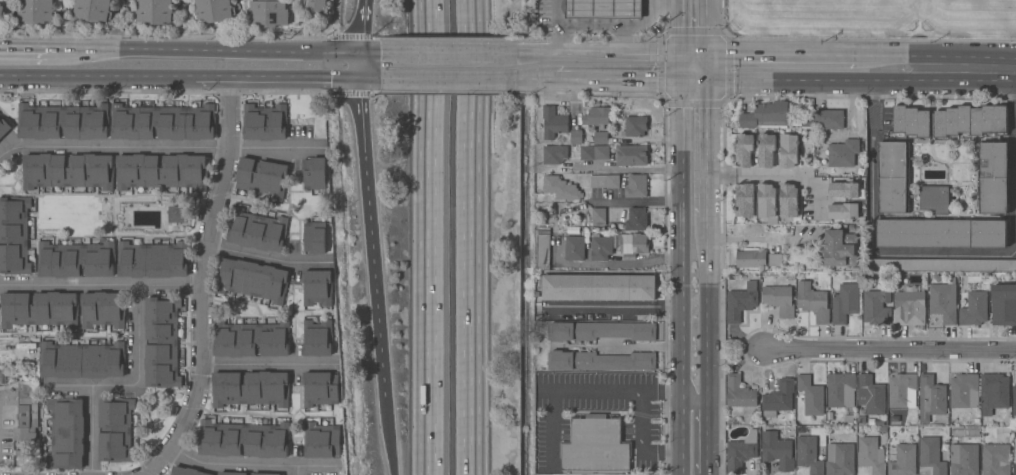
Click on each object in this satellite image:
road: (652, 3)
building: (316, 6)
building: (603, 9)
building: (92, 10)
building: (213, 10)
building: (36, 11)
building: (155, 11)
building: (268, 13)
building: (2, 16)
road: (644, 22)
road: (590, 25)
road: (360, 26)
road: (554, 26)
road: (680, 27)
road: (707, 27)
road: (23, 49)
road: (213, 50)
traffic signals: (358, 52)
road: (436, 52)
road: (507, 52)
road: (601, 53)
traffic signals: (680, 54)
road: (693, 54)
traffic signals: (707, 54)
road: (781, 55)
road: (889, 56)
road: (357, 65)
road: (707, 67)
road: (966, 70)
road: (97, 76)
road: (275, 77)
traffic signals: (357, 78)
road: (369, 78)
road: (452, 79)
road: (539, 79)
road: (618, 80)
traffic signals: (680, 80)
road: (693, 80)
traffic signals: (707, 80)
road: (814, 80)
road: (473, 101)
road: (479, 101)
building: (766, 115)
building: (596, 116)
building: (829, 119)
building: (970, 120)
building: (912, 121)
building: (63, 122)
building: (162, 122)
building: (265, 122)
building: (553, 122)
building: (807, 123)
building: (636, 125)
building: (4, 127)
building: (588, 137)
road: (160, 148)
road: (707, 148)
building: (744, 149)
building: (766, 150)
building: (788, 150)
building: (594, 152)
building: (554, 154)
building: (844, 154)
building: (631, 155)
road: (1013, 162)
road: (872, 167)
road: (630, 169)
building: (68, 171)
building: (161, 171)
building: (315, 173)
road: (774, 176)
building: (262, 177)
building: (894, 177)
building: (993, 177)
building: (604, 181)
building: (636, 185)
building: (560, 188)
building: (844, 189)
building: (935, 199)
building: (745, 200)
building: (766, 200)
building: (788, 200)
road: (636, 202)
building: (844, 211)
building: (179, 214)
building: (598, 217)
building: (636, 219)
building: (257, 230)
building: (941, 233)
building: (14, 234)
road: (370, 236)
building: (315, 237)
road: (425, 237)
building: (633, 243)
building: (543, 245)
building: (574, 248)
building: (601, 248)
building: (839, 248)
road: (943, 253)
road: (268, 258)
building: (76, 259)
building: (153, 259)
building: (751, 259)
building: (774, 260)
road: (623, 264)
road: (680, 264)
building: (939, 265)
building: (251, 279)
road: (201, 283)
road: (100, 285)
building: (318, 287)
building: (599, 287)
building: (778, 298)
building: (741, 301)
building: (813, 301)
building: (944, 301)
building: (845, 302)
building: (1004, 304)
building: (877, 306)
building: (909, 306)
building: (972, 306)
road: (614, 307)
building: (39, 309)
building: (102, 309)
building: (601, 331)
building: (318, 338)
road: (472, 338)
building: (250, 339)
building: (162, 342)
road: (639, 346)
road: (707, 346)
road: (892, 350)
road: (138, 359)
building: (82, 360)
building: (601, 361)
road: (270, 365)
building: (250, 388)
building: (320, 388)
building: (841, 389)
road: (578, 391)
building: (902, 391)
building: (964, 391)
building: (739, 392)
building: (994, 393)
building: (811, 395)
building: (871, 395)
building: (779, 397)
building: (931, 397)
building: (1014, 400)
road: (91, 405)
building: (27, 410)
building: (849, 418)
building: (880, 423)
road: (696, 428)
building: (116, 429)
building: (910, 429)
building: (881, 430)
building: (66, 433)
road: (388, 435)
building: (243, 439)
building: (321, 440)
road: (640, 443)
building: (595, 445)
building: (777, 450)
building: (741, 452)
building: (809, 454)
building: (870, 455)
building: (931, 455)
building: (996, 457)
building: (1014, 458)
building: (840, 459)
building: (902, 459)
building: (964, 459)
road: (250, 465)
road: (297, 470)
building: (187, 471)
building: (244, 473)

